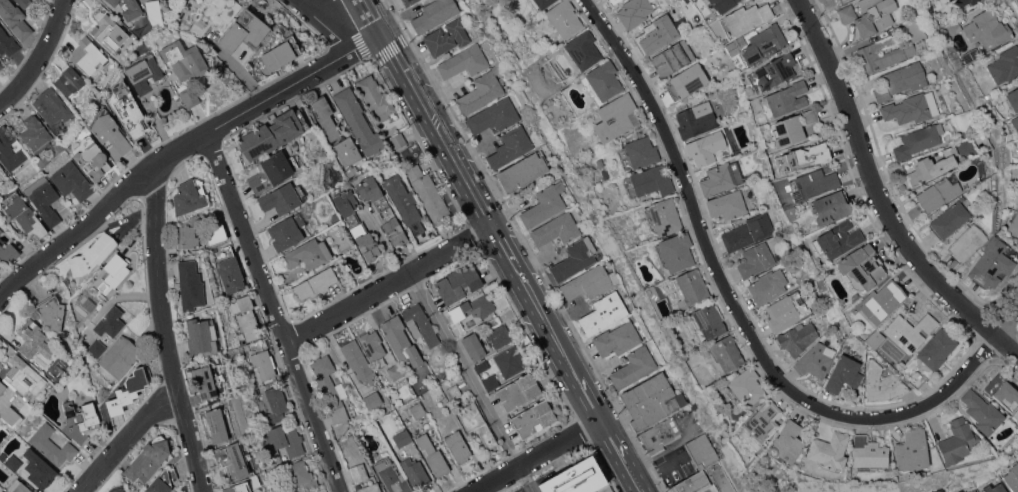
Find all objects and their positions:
building: (614, 1)
building: (938, 1)
building: (24, 2)
building: (89, 2)
road: (313, 2)
building: (409, 2)
building: (962, 2)
building: (543, 3)
park: (831, 4)
building: (722, 5)
building: (129, 8)
building: (154, 10)
building: (634, 11)
building: (434, 14)
building: (869, 15)
building: (214, 16)
building: (15, 18)
building: (565, 18)
building: (745, 18)
road: (325, 24)
building: (953, 27)
building: (988, 29)
building: (244, 31)
building: (916, 31)
building: (110, 33)
building: (657, 34)
building: (448, 37)
building: (7, 42)
building: (763, 43)
building: (731, 47)
building: (583, 49)
building: (883, 53)
building: (282, 54)
building: (971, 55)
road: (39, 56)
building: (89, 57)
building: (673, 58)
building: (185, 59)
building: (464, 62)
building: (1, 65)
building: (1005, 65)
building: (775, 70)
building: (144, 74)
building: (69, 80)
building: (603, 80)
building: (687, 80)
building: (900, 80)
building: (482, 91)
building: (518, 91)
building: (191, 97)
building: (787, 97)
building: (1013, 98)
building: (377, 100)
building: (51, 106)
building: (911, 107)
building: (129, 110)
building: (810, 115)
building: (494, 116)
building: (326, 117)
building: (616, 117)
building: (696, 119)
building: (358, 121)
building: (1015, 122)
building: (788, 130)
building: (110, 132)
building: (275, 132)
building: (36, 134)
building: (918, 139)
building: (398, 140)
building: (510, 146)
building: (706, 147)
building: (9, 150)
road: (179, 151)
building: (347, 151)
building: (637, 152)
building: (802, 156)
building: (94, 161)
building: (932, 165)
building: (272, 171)
building: (522, 171)
building: (0, 172)
building: (352, 172)
building: (721, 177)
building: (72, 180)
building: (648, 181)
building: (813, 183)
building: (428, 192)
building: (938, 192)
road: (880, 195)
building: (190, 196)
building: (280, 198)
building: (44, 199)
building: (403, 201)
building: (544, 204)
building: (727, 204)
building: (347, 206)
building: (830, 206)
building: (383, 210)
building: (792, 213)
building: (26, 217)
building: (663, 217)
building: (949, 219)
building: (1014, 225)
building: (556, 229)
building: (1, 230)
building: (215, 231)
building: (287, 231)
building: (747, 231)
building: (187, 237)
building: (837, 239)
building: (968, 240)
building: (365, 241)
building: (632, 244)
road: (504, 245)
building: (8, 251)
building: (676, 251)
building: (308, 254)
building: (92, 255)
building: (575, 258)
building: (755, 260)
building: (991, 263)
building: (861, 267)
building: (114, 272)
building: (231, 274)
building: (317, 282)
building: (590, 282)
building: (458, 283)
building: (190, 285)
road: (391, 285)
building: (767, 285)
building: (691, 286)
building: (854, 296)
building: (882, 301)
road: (737, 306)
building: (472, 310)
building: (850, 310)
road: (276, 312)
building: (604, 312)
building: (783, 312)
building: (52, 313)
building: (247, 317)
road: (1006, 319)
building: (708, 320)
building: (110, 321)
building: (420, 324)
road: (165, 330)
building: (909, 331)
building: (499, 335)
building: (201, 336)
building: (32, 337)
building: (796, 337)
building: (617, 338)
building: (874, 338)
building: (401, 340)
building: (372, 344)
building: (473, 346)
building: (97, 347)
building: (846, 347)
building: (936, 348)
building: (726, 353)
building: (120, 356)
building: (357, 358)
building: (815, 360)
building: (510, 361)
building: (264, 363)
building: (482, 366)
building: (634, 367)
building: (396, 370)
building: (843, 374)
building: (24, 376)
building: (916, 377)
road: (473, 382)
building: (491, 382)
building: (205, 383)
building: (882, 383)
building: (132, 386)
building: (746, 386)
building: (2, 387)
building: (331, 389)
building: (453, 391)
building: (519, 391)
building: (1003, 392)
building: (41, 395)
building: (373, 400)
building: (651, 400)
building: (19, 401)
building: (276, 403)
building: (26, 408)
building: (109, 409)
building: (418, 410)
building: (982, 412)
building: (11, 416)
building: (534, 418)
building: (79, 420)
building: (762, 420)
building: (477, 424)
building: (217, 425)
building: (660, 434)
building: (403, 438)
building: (285, 439)
road: (127, 440)
building: (957, 441)
building: (786, 442)
building: (52, 444)
building: (458, 446)
building: (702, 450)
building: (828, 450)
building: (911, 450)
building: (868, 452)
building: (433, 455)
building: (3, 456)
road: (536, 456)
building: (148, 459)
building: (233, 459)
building: (14, 462)
building: (39, 468)
building: (358, 471)
building: (415, 472)
building: (301, 475)
building: (392, 476)
building: (1012, 476)
building: (577, 478)
building: (163, 481)
building: (707, 481)
building: (244, 484)
building: (19, 486)
building: (371, 488)
building: (994, 488)
building: (117, 489)
building: (34, 491)
building: (959, 491)
building: (972, 491)

